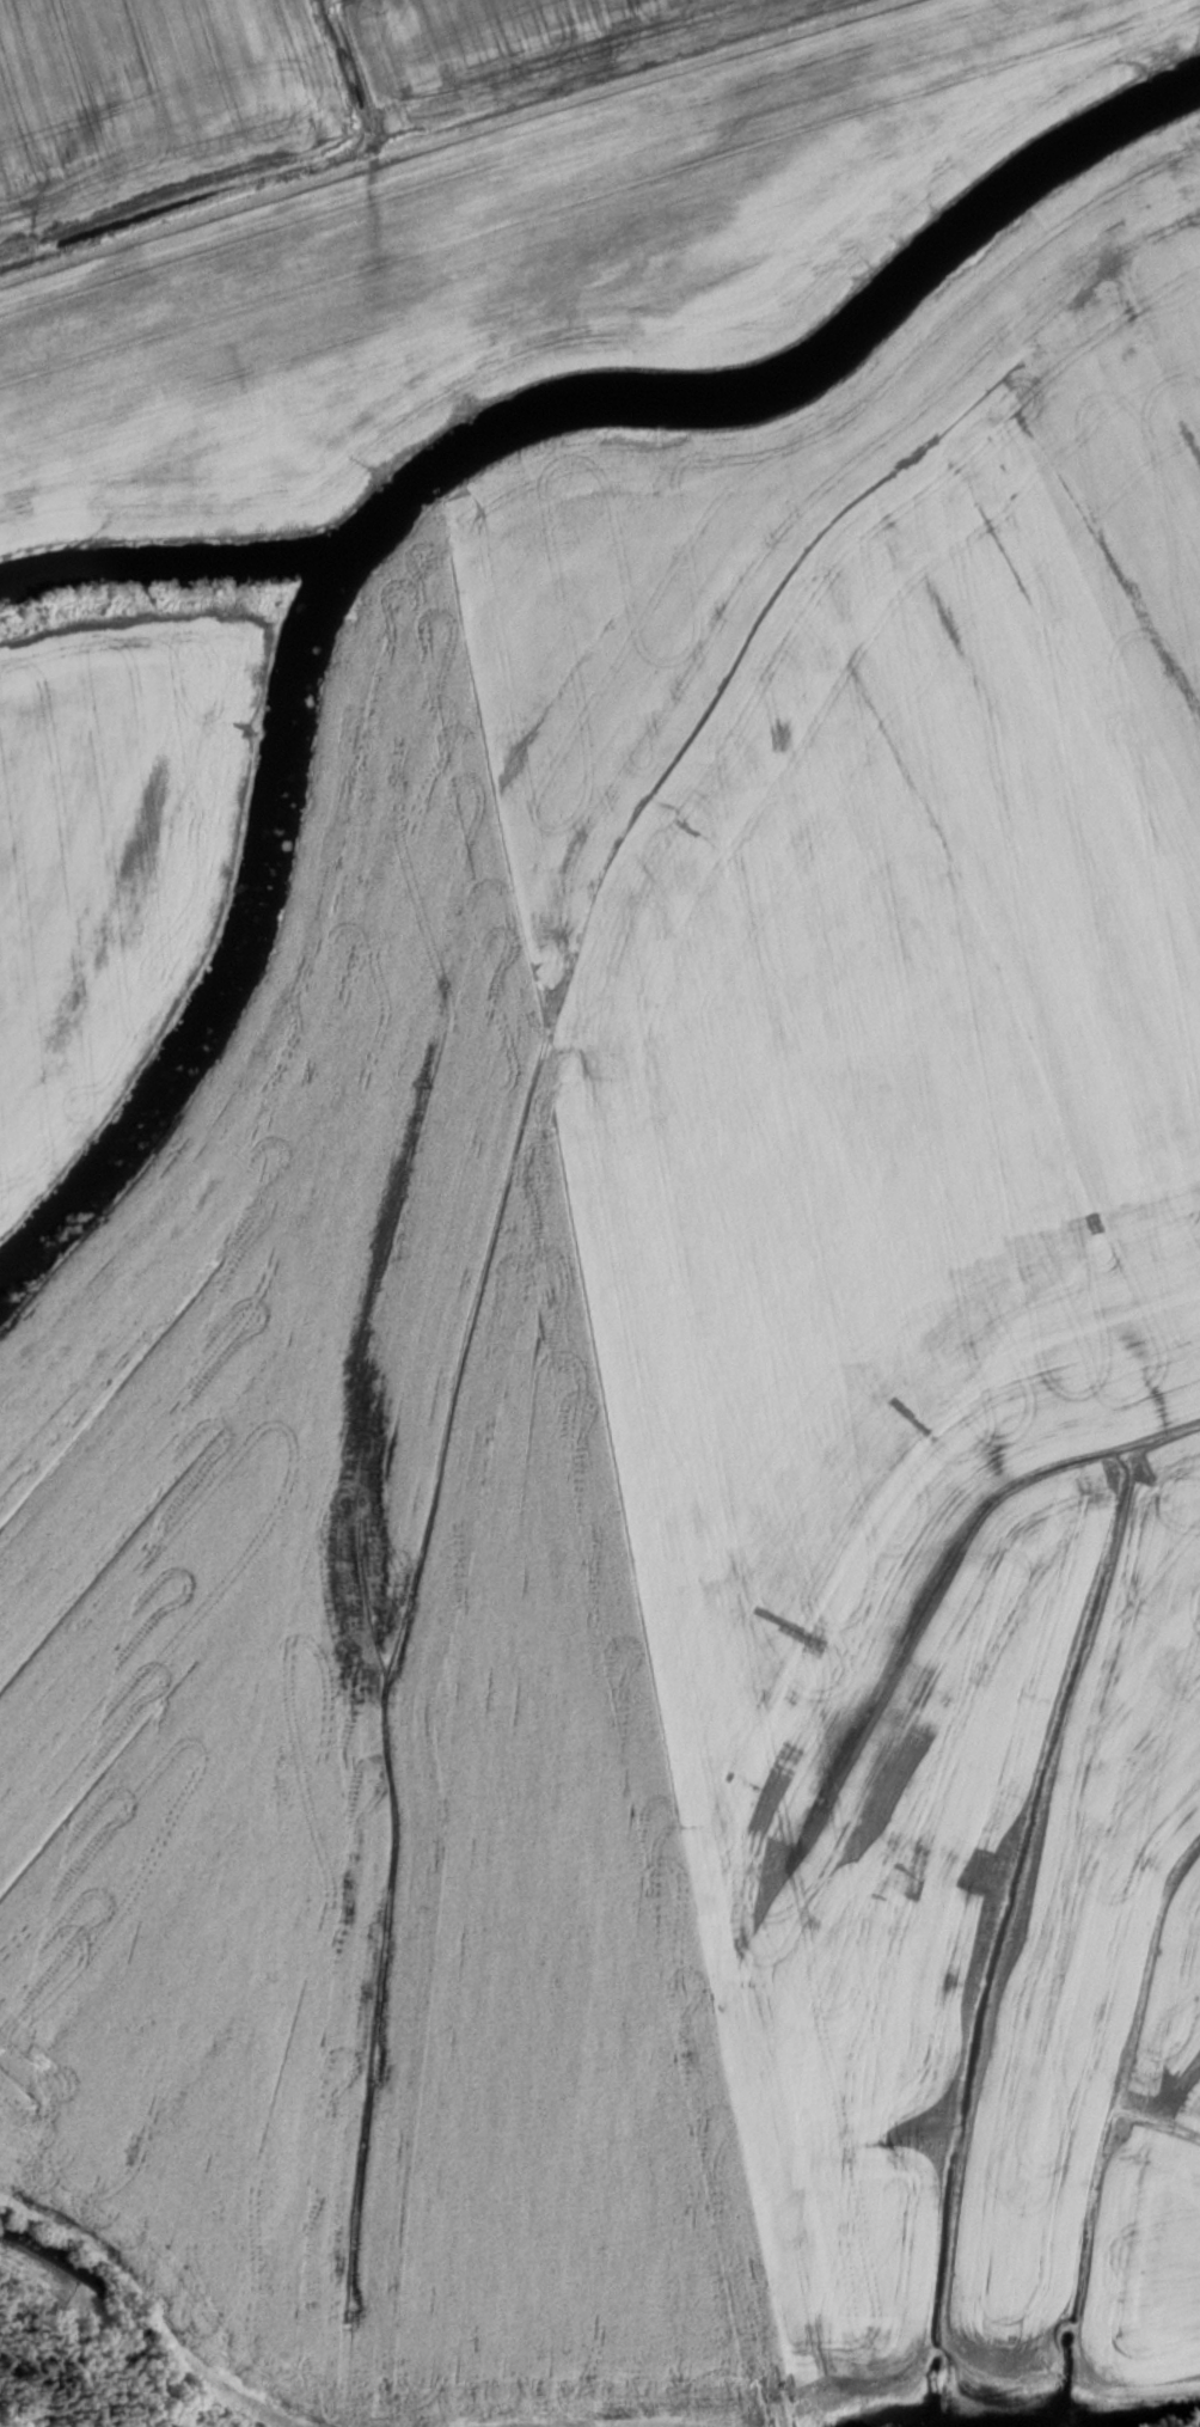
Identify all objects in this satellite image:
road: (441, 137)
road: (775, 2397)

